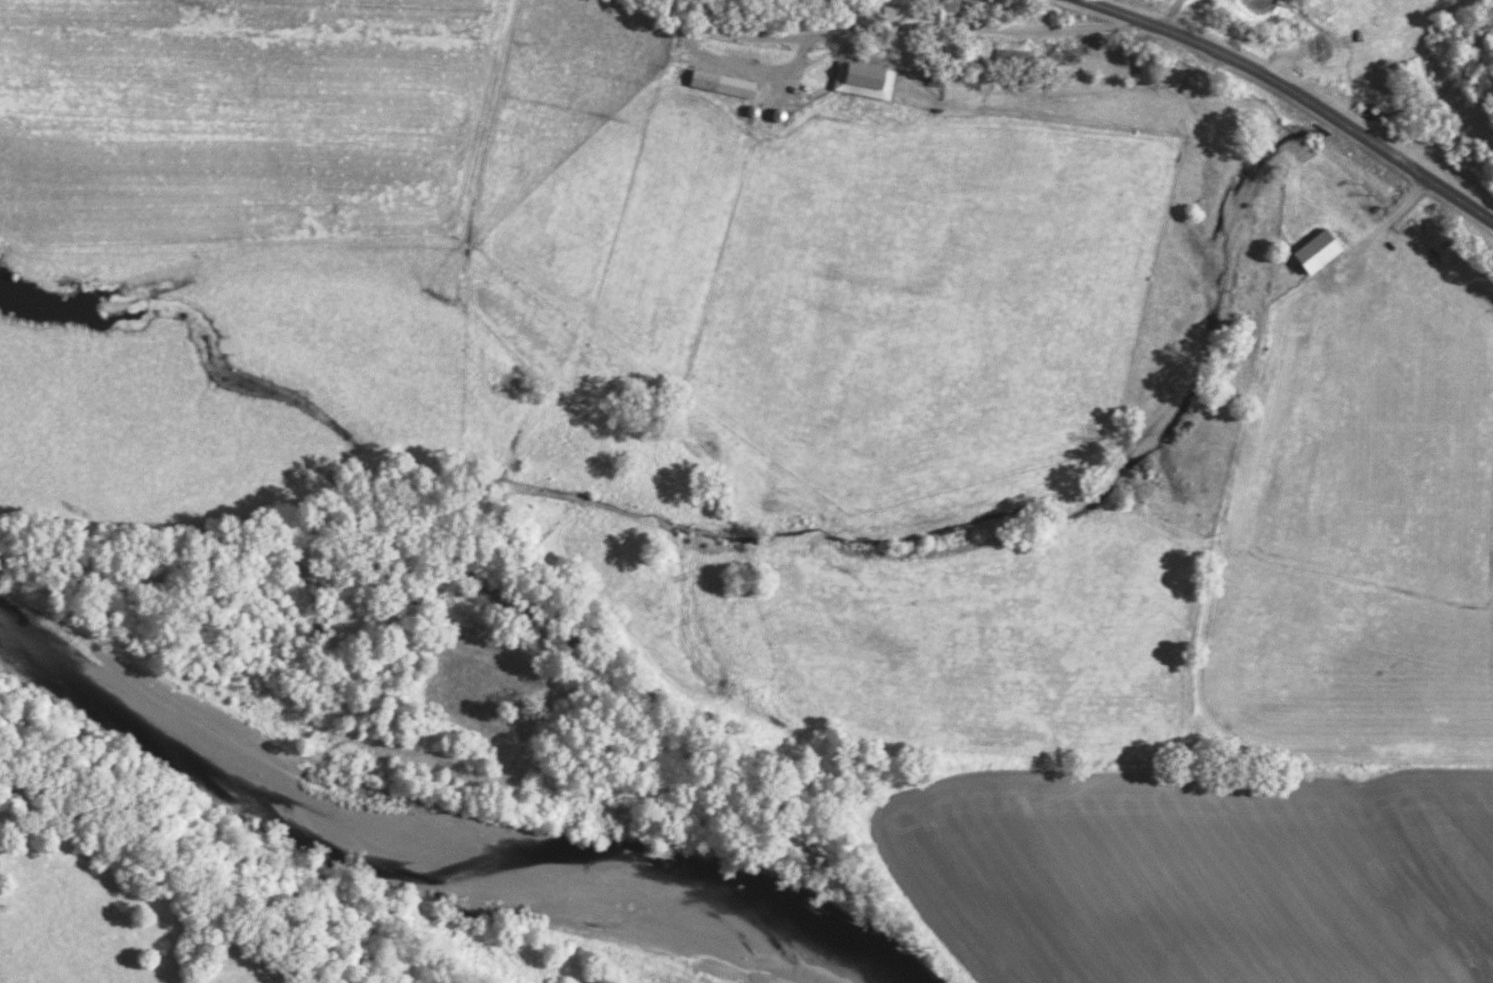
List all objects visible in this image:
building: (948, 10)
road: (908, 35)
building: (1323, 55)
building: (1014, 60)
building: (1154, 70)
building: (938, 79)
building: (867, 82)
building: (726, 86)
road: (1296, 95)
building: (1323, 252)
river: (428, 829)

